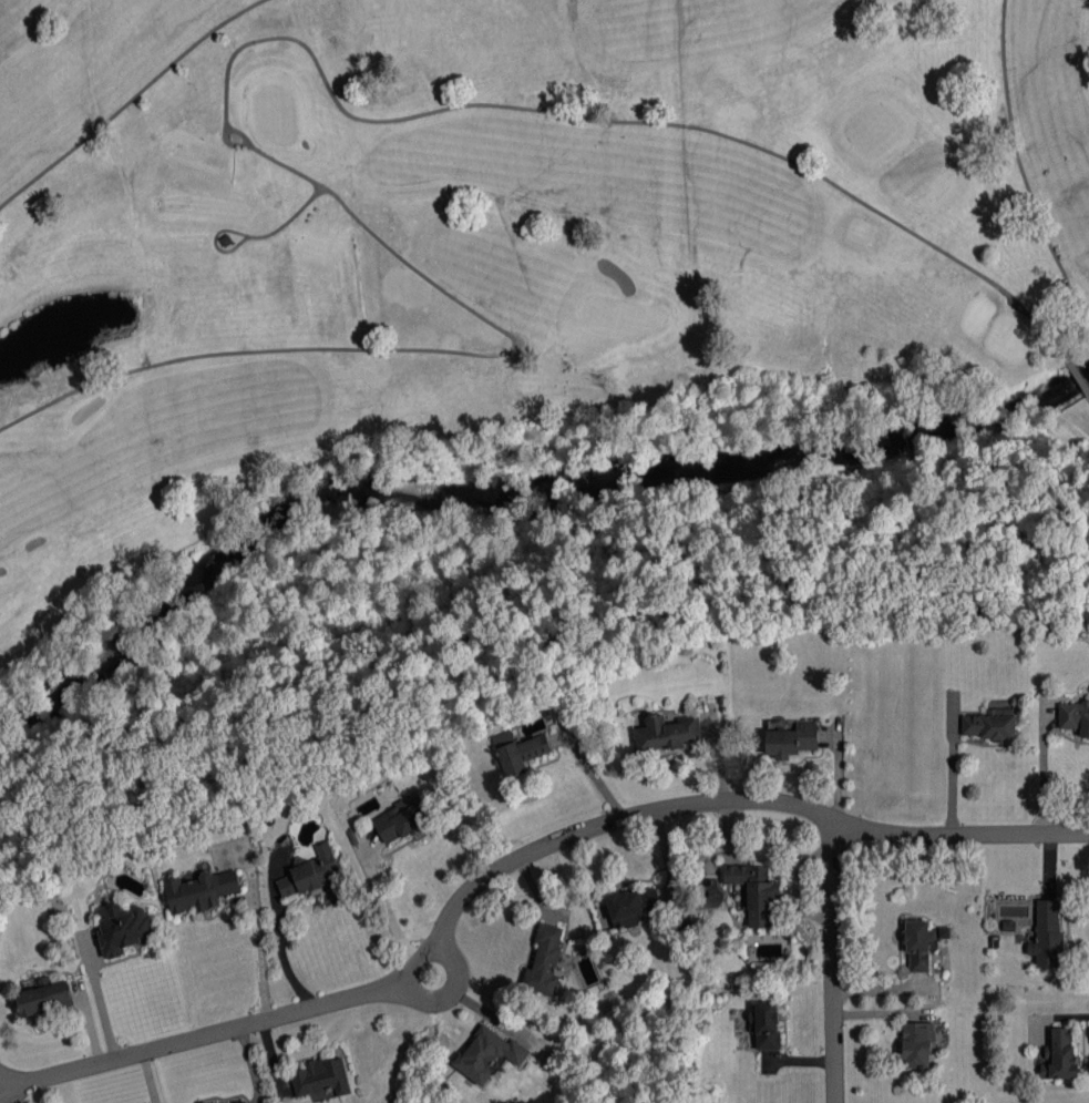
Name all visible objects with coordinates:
park: (276, 113)
road: (250, 236)
park: (515, 277)
park: (618, 316)
river: (515, 480)
building: (1075, 716)
building: (990, 724)
building: (668, 733)
building: (792, 741)
building: (518, 752)
road: (1051, 779)
building: (402, 820)
road: (522, 859)
building: (309, 872)
building: (201, 890)
building: (756, 891)
road: (383, 903)
building: (635, 906)
building: (123, 929)
building: (945, 932)
building: (1047, 935)
building: (918, 946)
road: (282, 954)
building: (545, 958)
road: (263, 959)
road: (835, 961)
building: (44, 999)
road: (99, 1002)
building: (767, 1024)
building: (917, 1044)
building: (489, 1054)
building: (321, 1078)
road: (8, 1087)
building: (238, 1101)

